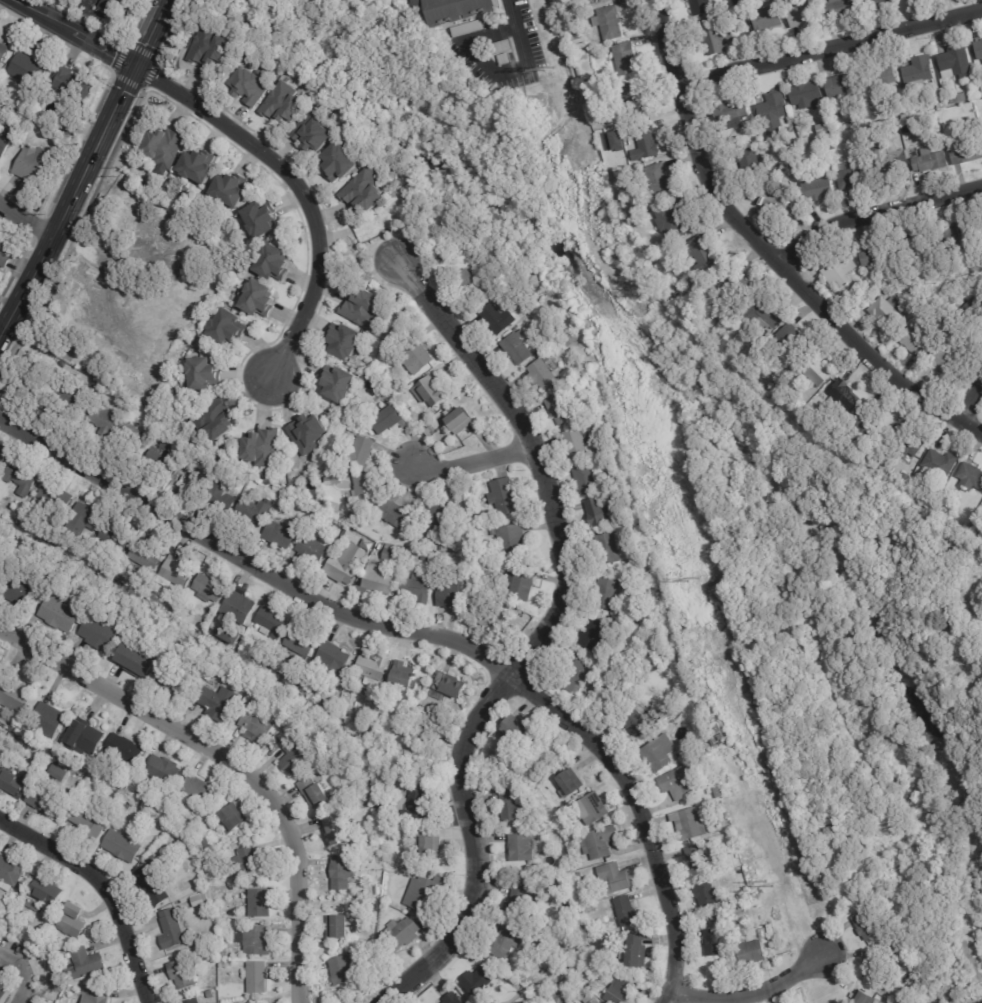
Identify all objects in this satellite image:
building: (680, 0)
building: (869, 3)
building: (112, 4)
building: (699, 7)
building: (840, 8)
building: (458, 9)
building: (799, 14)
building: (609, 21)
building: (762, 23)
building: (710, 35)
road: (69, 37)
building: (205, 44)
building: (748, 47)
road: (832, 50)
building: (977, 50)
building: (4, 54)
building: (628, 59)
building: (952, 62)
power tower: (541, 65)
road: (520, 69)
building: (915, 71)
building: (33, 73)
traffic signals: (132, 74)
building: (885, 77)
building: (254, 83)
building: (590, 84)
building: (74, 86)
building: (836, 87)
building: (638, 91)
building: (803, 96)
building: (956, 98)
building: (286, 101)
building: (769, 111)
building: (28, 112)
building: (726, 116)
building: (23, 121)
building: (71, 124)
building: (315, 129)
building: (821, 129)
building: (947, 131)
building: (648, 138)
building: (868, 138)
building: (6, 139)
building: (829, 147)
building: (64, 148)
building: (165, 148)
building: (611, 153)
building: (963, 153)
building: (343, 160)
building: (888, 160)
building: (926, 162)
building: (747, 164)
building: (37, 165)
building: (199, 166)
road: (85, 170)
building: (780, 171)
building: (850, 176)
building: (659, 179)
building: (231, 188)
building: (368, 189)
building: (813, 190)
road: (299, 192)
building: (621, 204)
building: (776, 204)
road: (875, 215)
road: (27, 218)
building: (262, 219)
building: (679, 219)
building: (976, 229)
building: (228, 238)
building: (944, 241)
building: (704, 252)
road: (769, 253)
building: (6, 256)
building: (948, 256)
building: (184, 257)
building: (871, 259)
road: (114, 262)
building: (277, 262)
road: (361, 262)
building: (919, 266)
building: (836, 272)
building: (740, 282)
building: (469, 283)
building: (883, 284)
building: (869, 291)
building: (261, 299)
building: (367, 309)
building: (971, 309)
building: (766, 313)
building: (884, 313)
building: (499, 317)
building: (229, 326)
building: (135, 328)
building: (346, 340)
building: (791, 341)
building: (912, 343)
building: (518, 347)
building: (542, 351)
building: (417, 355)
building: (25, 357)
building: (944, 360)
building: (850, 367)
building: (818, 371)
building: (125, 372)
building: (206, 374)
building: (543, 374)
building: (340, 384)
building: (69, 390)
building: (431, 392)
building: (850, 395)
building: (833, 400)
road: (970, 405)
building: (563, 408)
building: (216, 418)
building: (389, 418)
building: (103, 419)
building: (462, 419)
building: (867, 430)
building: (310, 433)
building: (134, 435)
building: (905, 441)
building: (579, 444)
building: (606, 448)
building: (263, 449)
building: (361, 452)
building: (1, 457)
building: (165, 458)
road: (473, 459)
building: (2, 463)
building: (937, 463)
building: (190, 476)
building: (969, 477)
building: (23, 478)
building: (588, 478)
building: (902, 478)
building: (261, 480)
building: (368, 488)
building: (49, 496)
building: (220, 496)
building: (506, 496)
building: (257, 511)
building: (309, 511)
building: (600, 511)
building: (398, 513)
building: (439, 516)
building: (346, 517)
building: (86, 518)
park: (693, 523)
building: (974, 526)
building: (283, 534)
building: (117, 536)
building: (51, 537)
building: (512, 538)
building: (60, 542)
building: (370, 543)
building: (313, 546)
building: (381, 546)
building: (615, 547)
building: (392, 555)
building: (147, 556)
building: (429, 556)
building: (443, 558)
building: (344, 569)
building: (3, 573)
building: (175, 573)
building: (48, 577)
power tower: (693, 580)
building: (379, 581)
building: (57, 583)
building: (126, 583)
building: (523, 583)
building: (209, 588)
building: (419, 588)
building: (20, 590)
building: (612, 594)
building: (459, 596)
building: (239, 607)
building: (173, 609)
building: (63, 613)
building: (497, 620)
building: (272, 623)
building: (99, 632)
road: (419, 634)
building: (600, 634)
building: (232, 635)
road: (537, 639)
building: (301, 643)
building: (242, 651)
building: (141, 656)
building: (334, 659)
building: (373, 665)
building: (406, 672)
building: (602, 672)
building: (211, 674)
building: (578, 676)
building: (175, 680)
building: (447, 689)
building: (13, 694)
building: (216, 702)
building: (331, 702)
building: (329, 709)
building: (426, 709)
building: (640, 719)
building: (49, 720)
building: (12, 724)
building: (258, 724)
building: (418, 728)
building: (363, 729)
building: (375, 732)
building: (516, 734)
building: (1, 735)
building: (86, 738)
building: (124, 747)
building: (493, 748)
building: (661, 753)
building: (296, 755)
building: (507, 755)
road: (231, 761)
building: (165, 770)
building: (361, 780)
building: (12, 781)
building: (684, 781)
building: (574, 782)
building: (121, 786)
building: (201, 789)
building: (316, 793)
building: (718, 793)
building: (52, 794)
building: (722, 804)
building: (128, 806)
building: (422, 806)
building: (515, 806)
building: (406, 808)
building: (382, 809)
building: (594, 809)
building: (233, 818)
building: (564, 818)
building: (725, 820)
building: (405, 822)
building: (91, 823)
building: (692, 823)
building: (338, 828)
building: (601, 842)
building: (207, 843)
building: (428, 844)
building: (123, 847)
building: (522, 848)
building: (699, 858)
building: (153, 860)
building: (252, 862)
building: (11, 871)
building: (344, 873)
building: (582, 876)
building: (616, 879)
building: (22, 886)
building: (153, 886)
road: (101, 888)
building: (49, 891)
building: (426, 895)
building: (710, 895)
building: (735, 896)
building: (200, 901)
building: (522, 902)
building: (261, 903)
building: (35, 906)
building: (575, 909)
building: (594, 909)
building: (629, 912)
building: (722, 916)
building: (74, 921)
building: (736, 923)
building: (331, 924)
building: (562, 925)
building: (863, 925)
building: (582, 928)
building: (175, 930)
building: (772, 933)
building: (403, 934)
building: (54, 940)
building: (256, 940)
building: (508, 942)
building: (716, 942)
building: (578, 946)
building: (639, 951)
building: (224, 953)
building: (624, 954)
building: (753, 954)
building: (215, 959)
building: (878, 964)
building: (86, 965)
building: (347, 968)
building: (583, 971)
building: (184, 974)
building: (251, 975)
road: (17, 977)
building: (479, 981)
building: (576, 984)
building: (621, 988)
road: (748, 992)
building: (4, 993)
building: (210, 995)
building: (97, 996)
building: (455, 998)
building: (555, 998)
road: (666, 998)
building: (862, 998)
building: (196, 1001)
building: (595, 1001)
building: (259, 1002)

